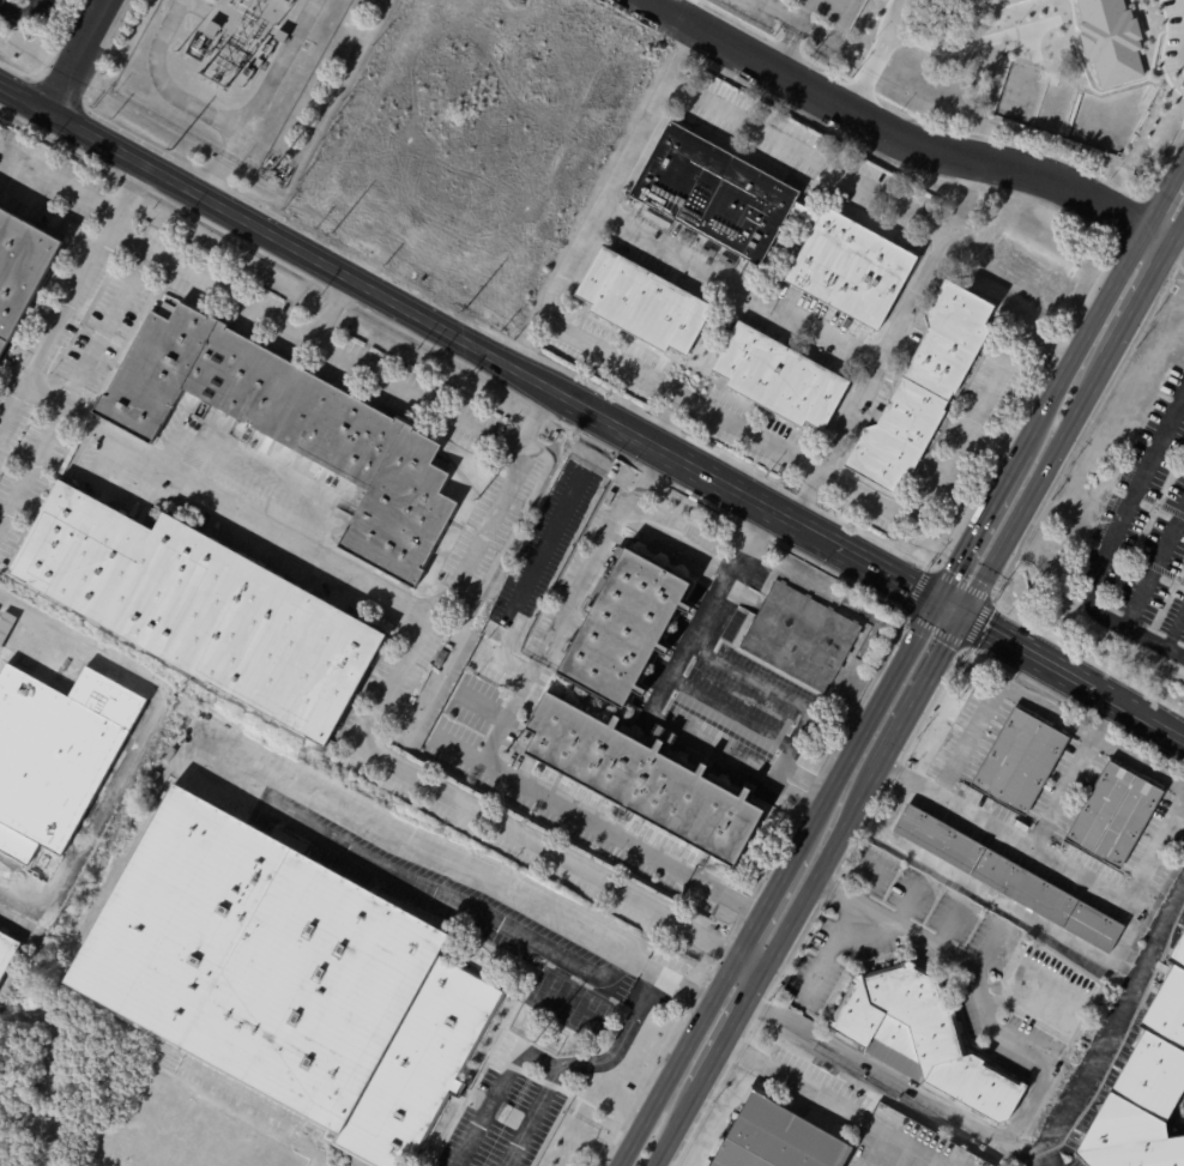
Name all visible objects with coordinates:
building: (215, 0)
building: (978, 4)
road: (1183, 8)
road: (19, 14)
road: (789, 14)
building: (213, 30)
building: (283, 36)
building: (1112, 41)
road: (783, 42)
road: (881, 55)
road: (80, 56)
building: (262, 64)
power substation: (226, 68)
road: (892, 131)
building: (629, 144)
road: (805, 153)
building: (271, 167)
road: (58, 182)
road: (1165, 191)
building: (713, 193)
road: (605, 195)
road: (1164, 231)
road: (1182, 236)
road: (1182, 243)
road: (294, 246)
building: (851, 270)
building: (23, 272)
road: (211, 284)
road: (735, 286)
road: (1146, 300)
building: (642, 302)
road: (1087, 333)
road: (883, 339)
building: (779, 377)
road: (383, 380)
building: (919, 389)
road: (678, 393)
road: (12, 409)
building: (295, 428)
building: (242, 433)
road: (117, 439)
road: (955, 449)
road: (30, 461)
road: (1040, 487)
road: (763, 503)
road: (657, 515)
road: (983, 522)
road: (1107, 548)
traffic signals: (940, 600)
road: (953, 608)
building: (205, 610)
traffic signals: (967, 615)
building: (6, 627)
building: (620, 627)
building: (803, 636)
building: (443, 658)
road: (1075, 676)
road: (778, 690)
road: (922, 695)
road: (656, 696)
road: (1040, 707)
road: (869, 725)
road: (140, 743)
road: (373, 750)
building: (58, 755)
road: (487, 757)
building: (1020, 762)
building: (646, 779)
road: (893, 803)
road: (959, 805)
building: (1113, 815)
road: (1058, 858)
road: (821, 871)
building: (1008, 880)
road: (768, 902)
road: (1013, 907)
road: (925, 942)
road: (832, 950)
building: (7, 953)
road: (754, 961)
road: (593, 967)
building: (291, 978)
road: (675, 984)
building: (1049, 990)
road: (735, 1027)
road: (1112, 1027)
building: (923, 1038)
road: (679, 1059)
road: (796, 1083)
building: (1146, 1087)
road: (944, 1106)
road: (534, 1117)
road: (678, 1125)
building: (775, 1137)
road: (899, 1146)
road: (2, 1164)

